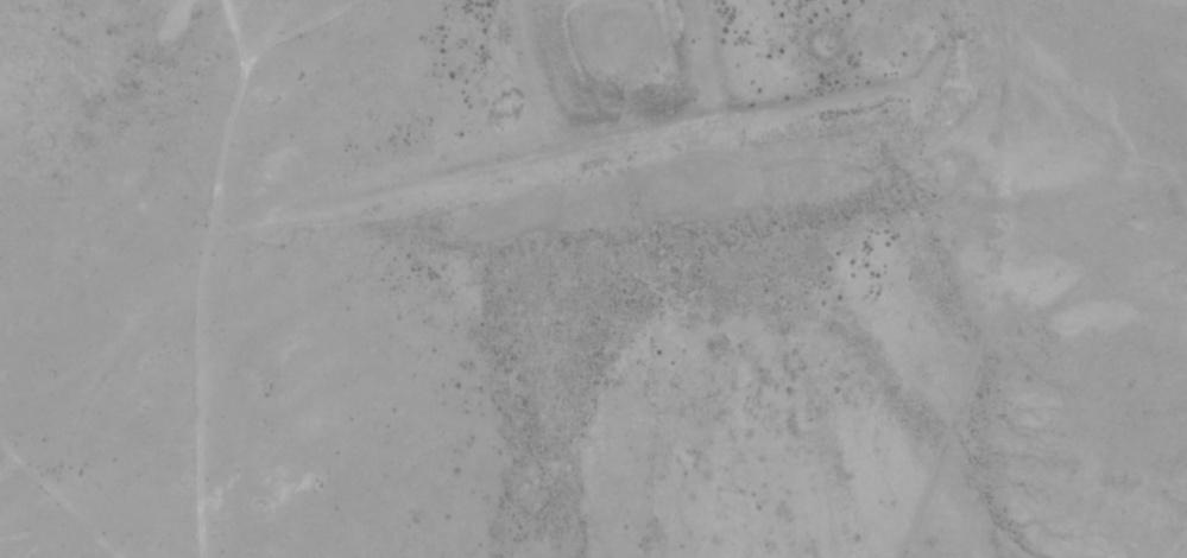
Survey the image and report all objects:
road: (198, 275)

